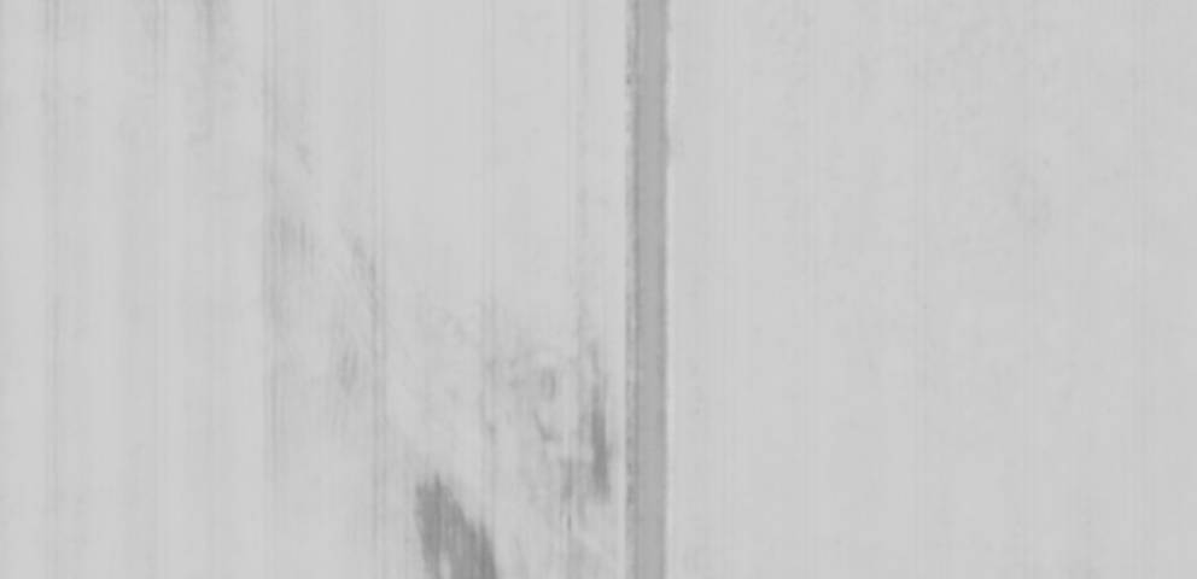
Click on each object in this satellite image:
road: (652, 289)

